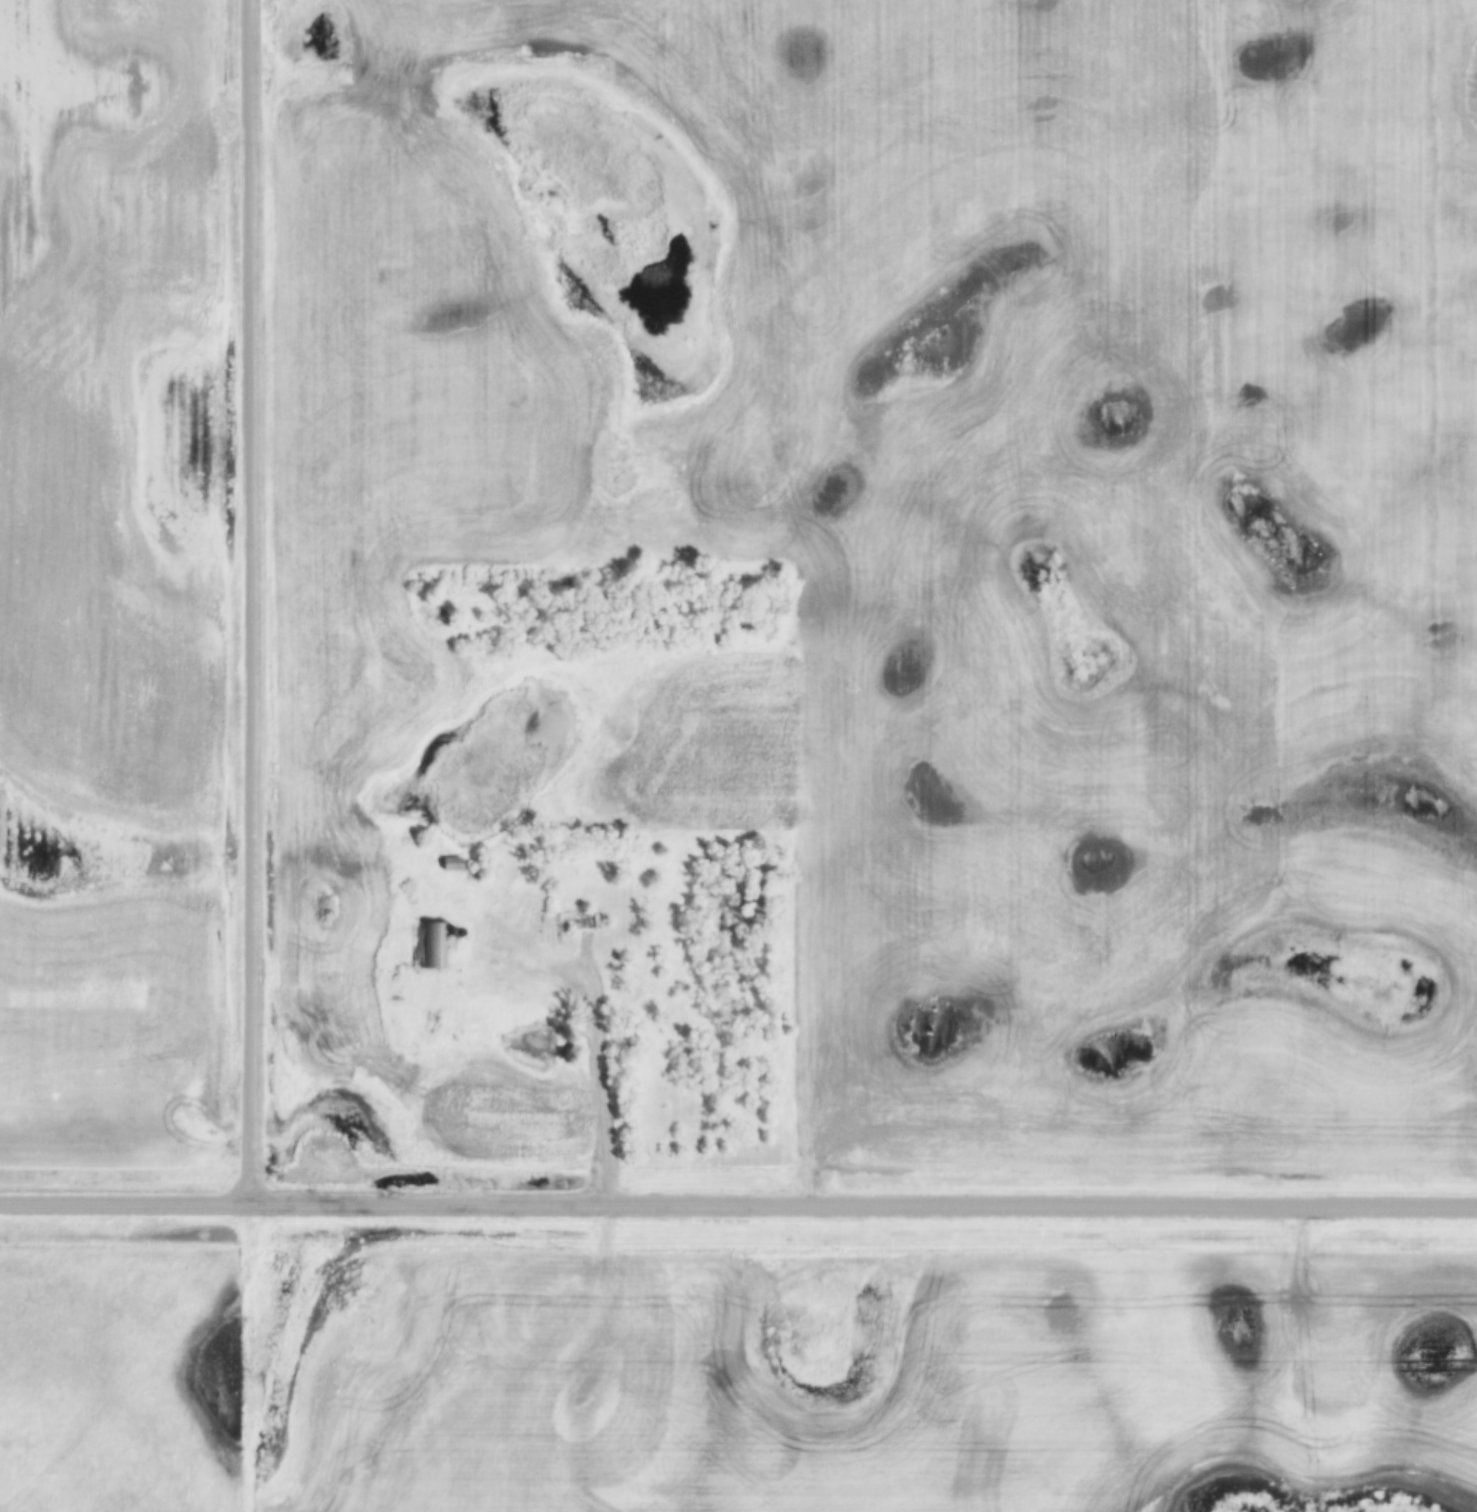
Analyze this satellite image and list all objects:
road: (248, 602)
building: (448, 864)
building: (424, 947)
road: (738, 1207)
road: (256, 1358)

